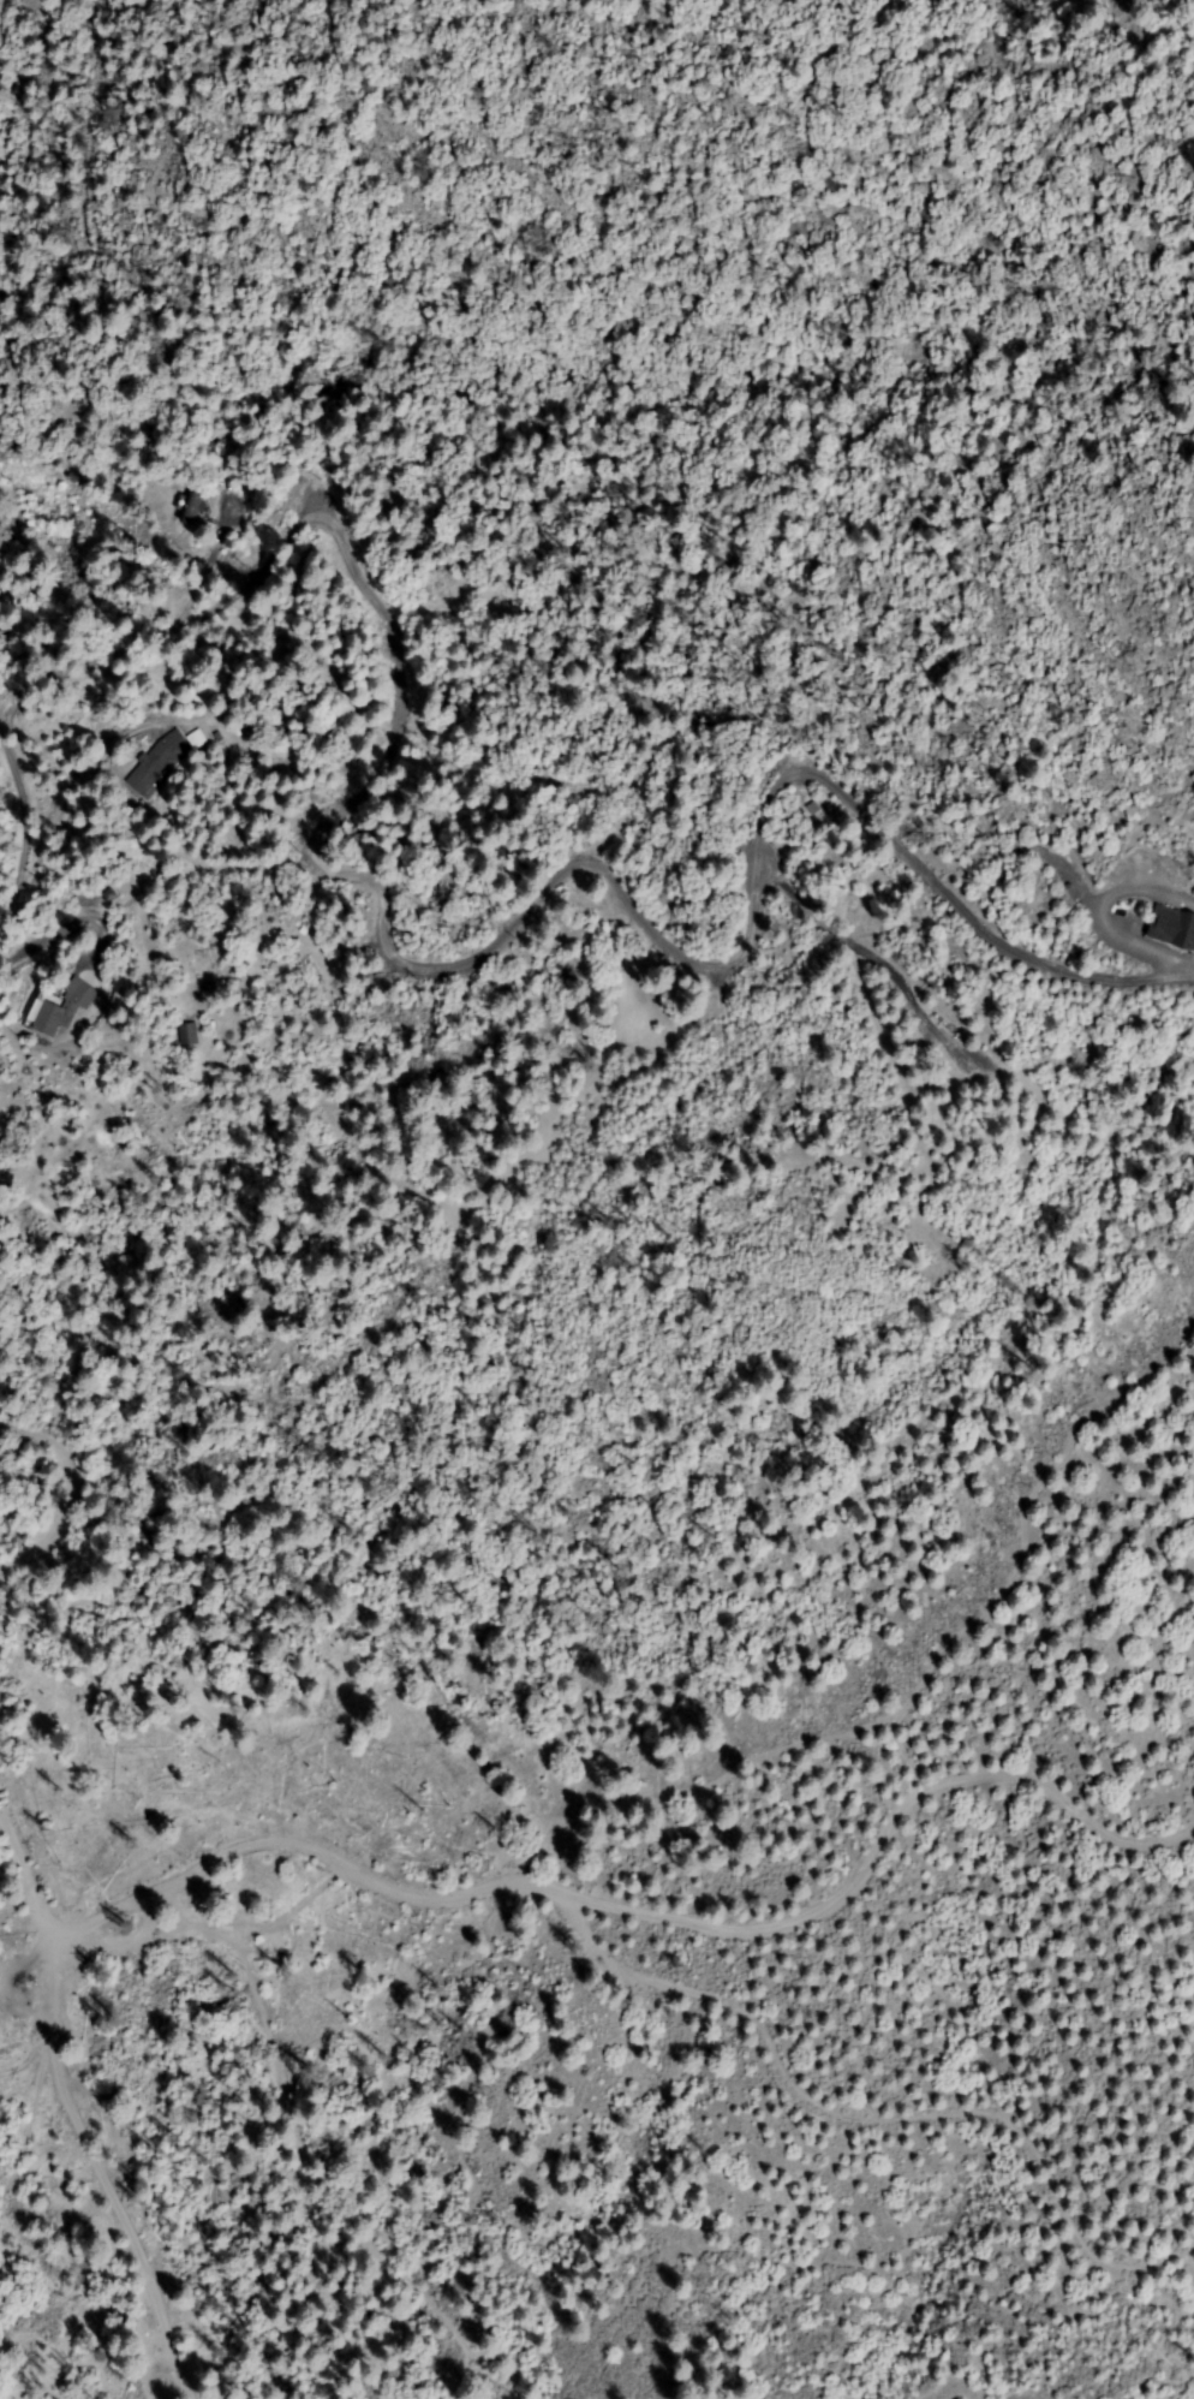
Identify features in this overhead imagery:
building: (192, 507)
building: (201, 739)
building: (157, 761)
building: (813, 808)
building: (1171, 930)
building: (294, 931)
building: (303, 933)
building: (79, 994)
building: (50, 1019)
building: (187, 1034)
road: (103, 1458)
road: (580, 1906)
road: (442, 2136)
road: (89, 2138)

